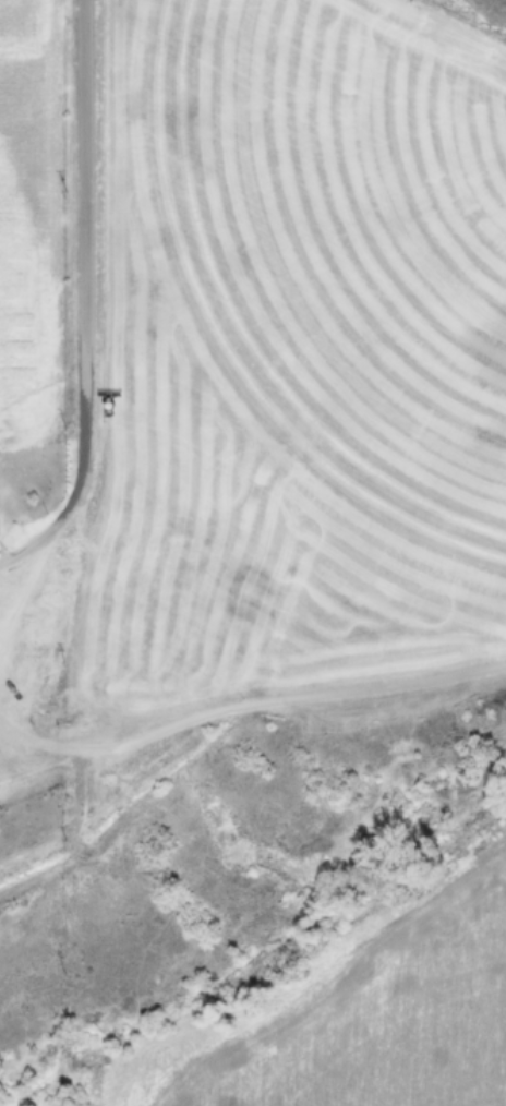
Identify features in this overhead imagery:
road: (94, 305)

